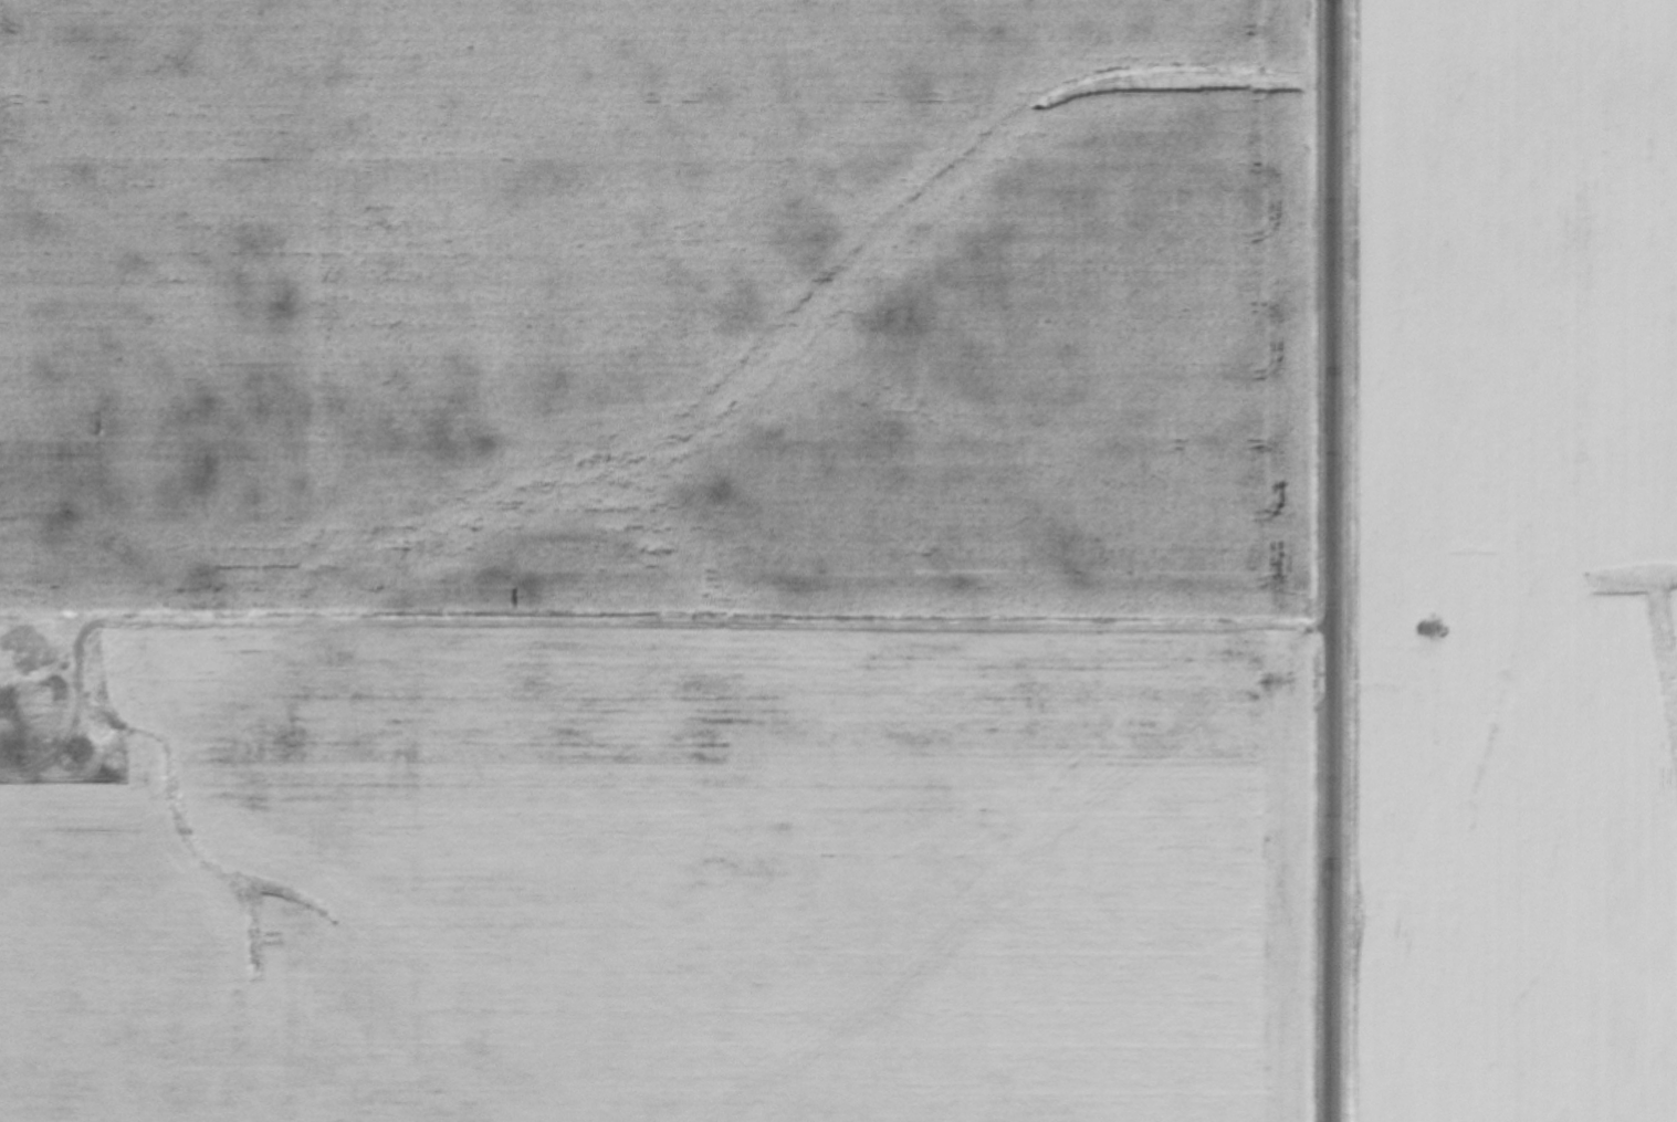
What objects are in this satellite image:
road: (1331, 560)

